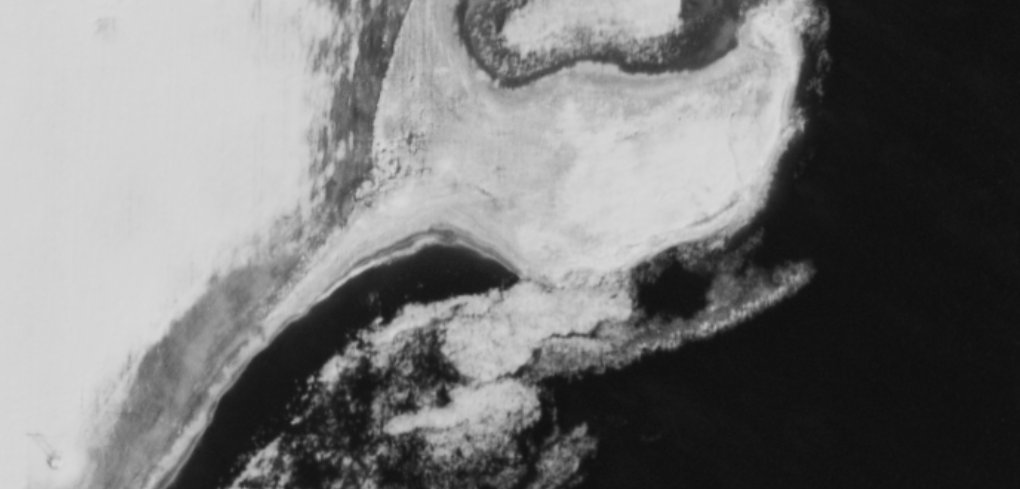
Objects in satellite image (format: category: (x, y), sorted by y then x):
power tower: (47, 457)

